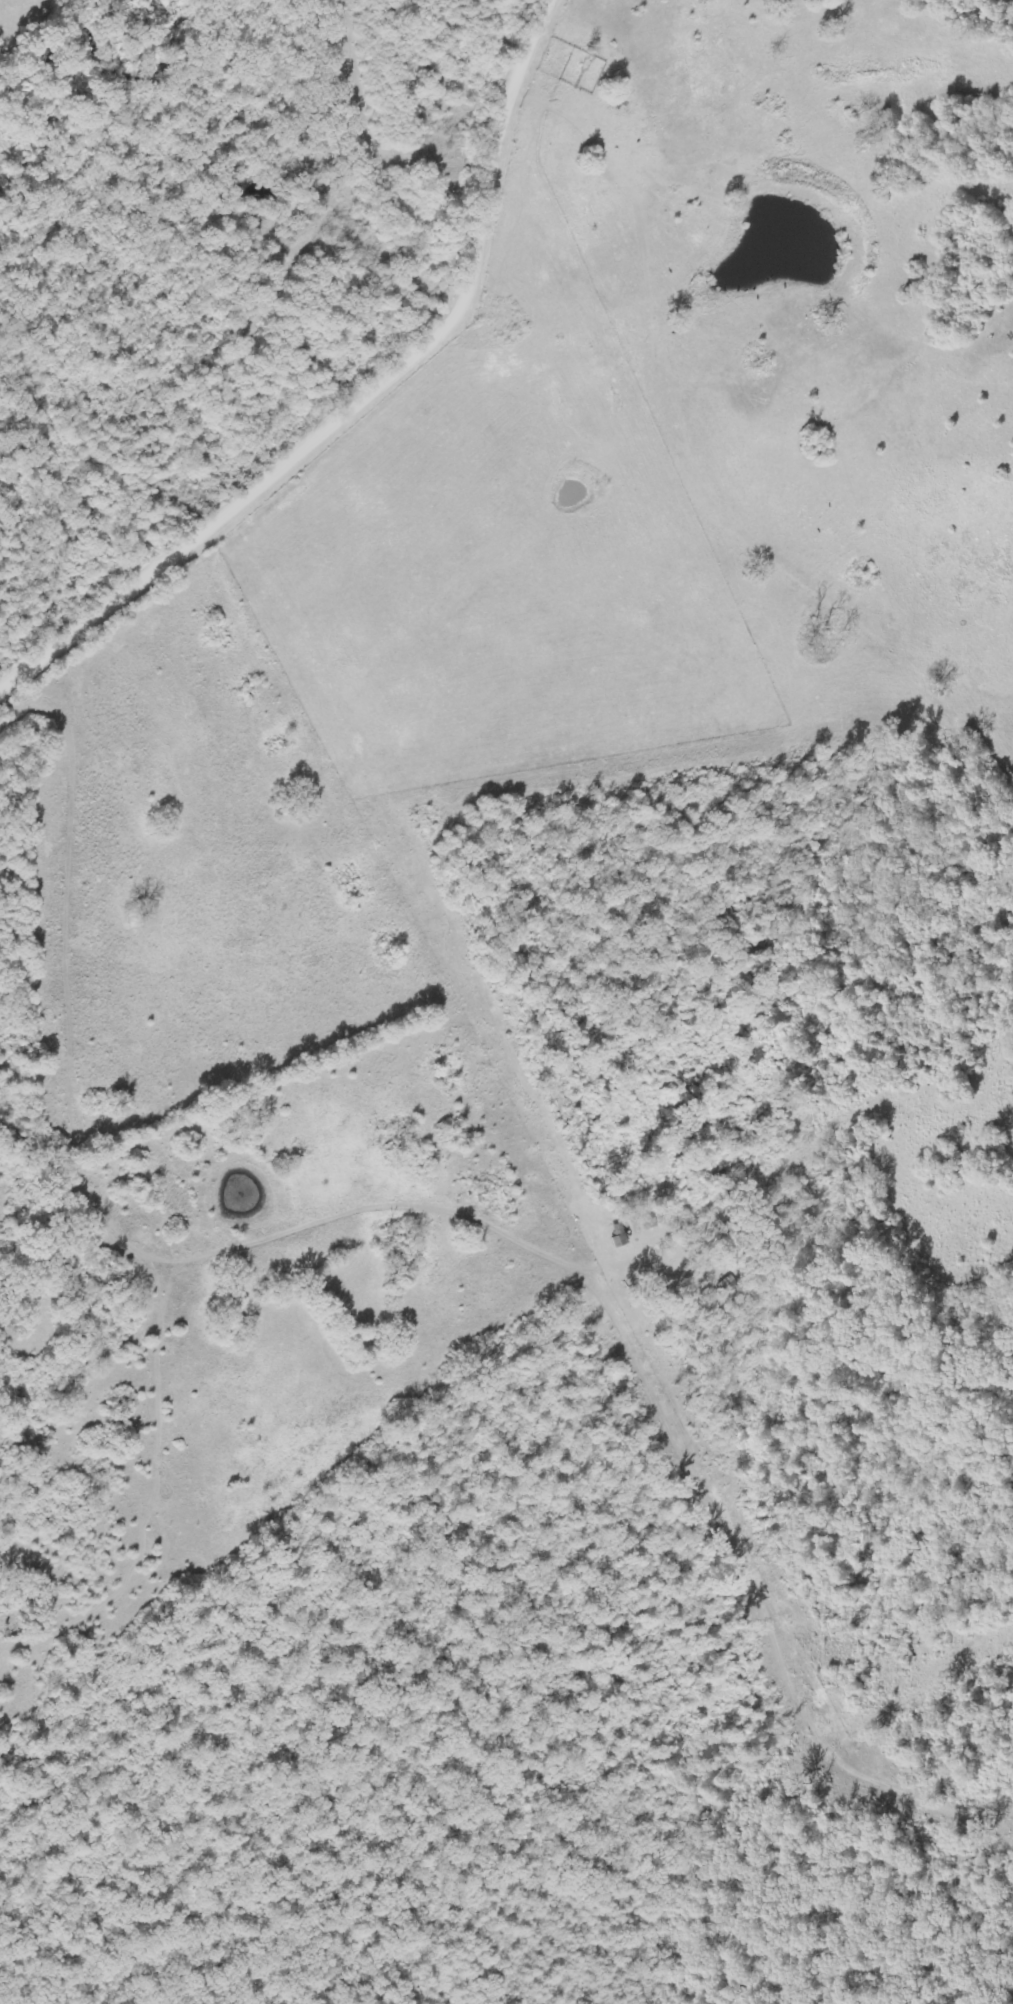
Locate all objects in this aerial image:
road: (355, 401)
road: (81, 1135)

